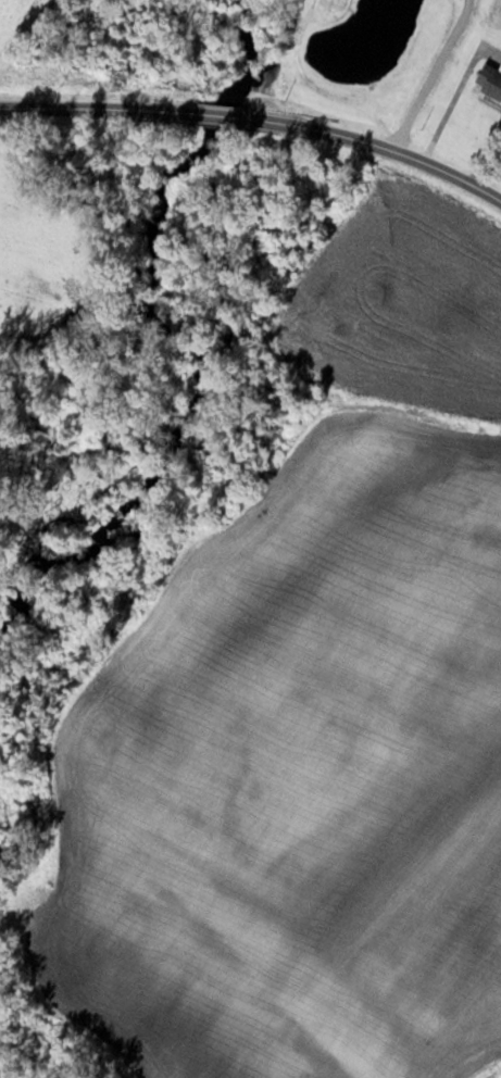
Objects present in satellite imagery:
building: (451, 23)
building: (440, 68)
building: (488, 80)
road: (258, 120)

